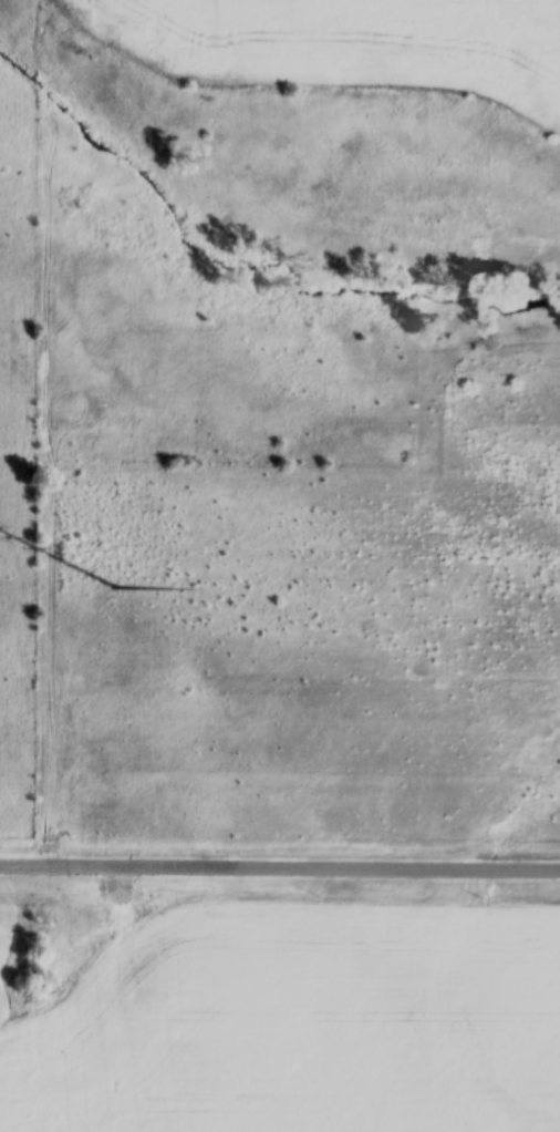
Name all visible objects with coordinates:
power tower: (116, 583)
road: (280, 863)

